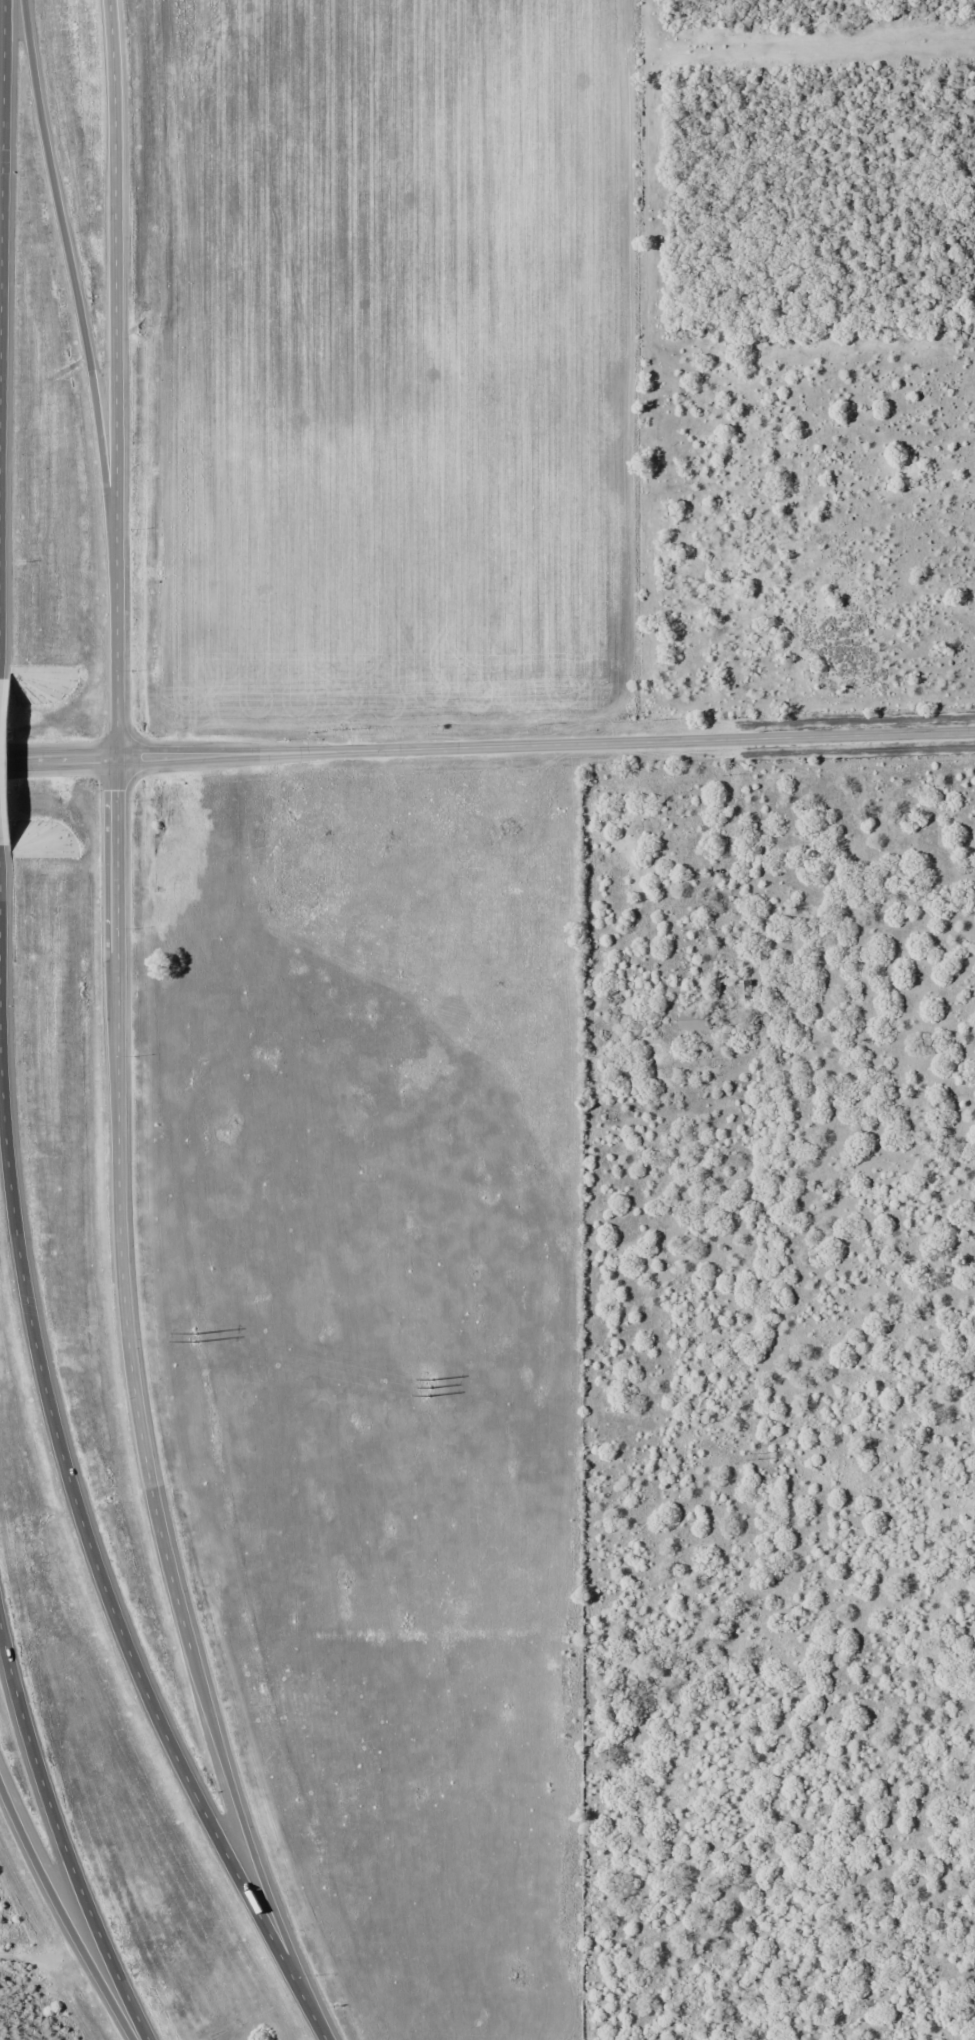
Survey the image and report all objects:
road: (1, 251)
road: (71, 267)
road: (115, 379)
road: (487, 747)
building: (693, 1020)
power tower: (194, 1336)
power tower: (429, 1388)
road: (132, 1389)
power tower: (757, 1454)
road: (97, 1565)
road: (62, 1839)
road: (62, 1916)

